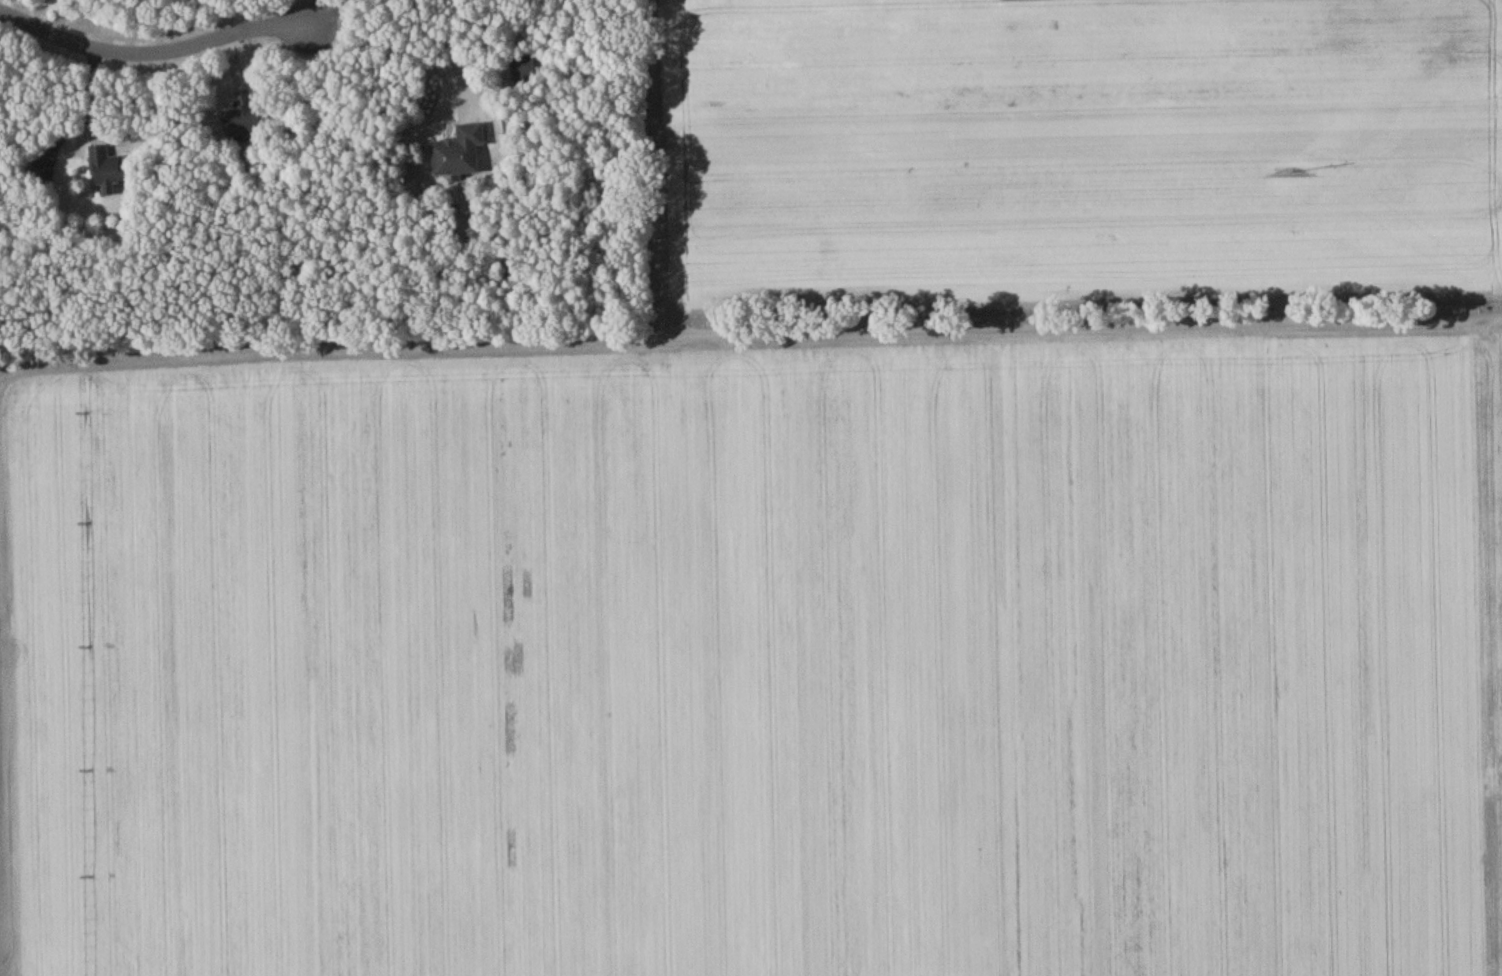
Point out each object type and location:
road: (329, 16)
road: (48, 18)
road: (243, 19)
road: (398, 51)
road: (154, 57)
building: (241, 116)
building: (460, 155)
building: (109, 172)
building: (41, 173)
road: (8, 971)

